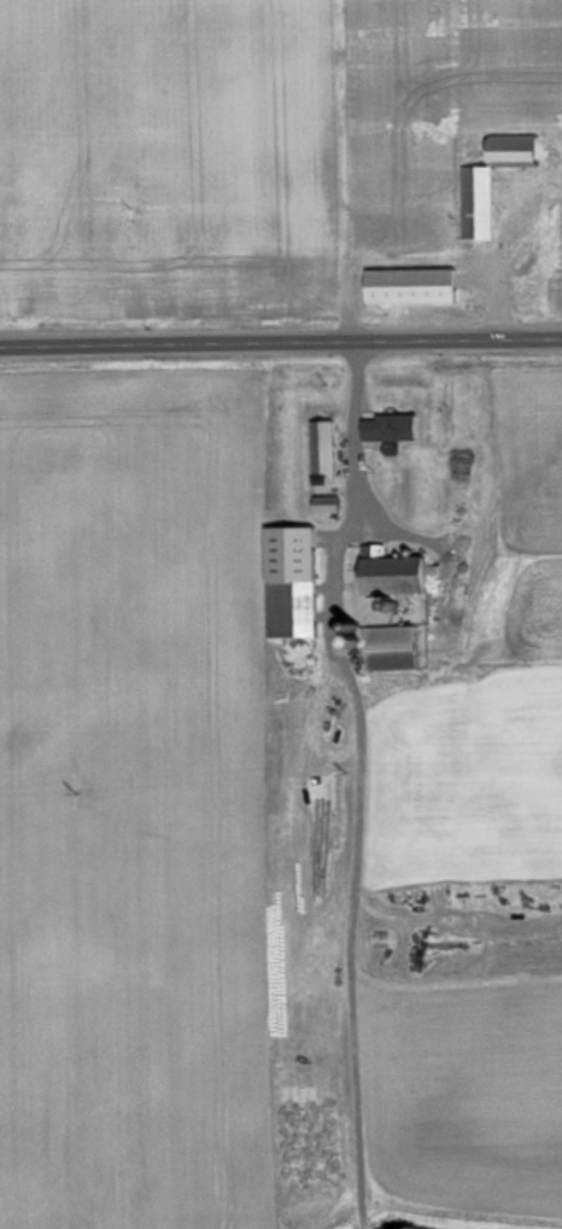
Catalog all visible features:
building: (488, 185)
building: (406, 287)
road: (281, 344)
building: (387, 429)
building: (321, 449)
building: (323, 506)
building: (390, 576)
building: (288, 610)
building: (391, 648)

